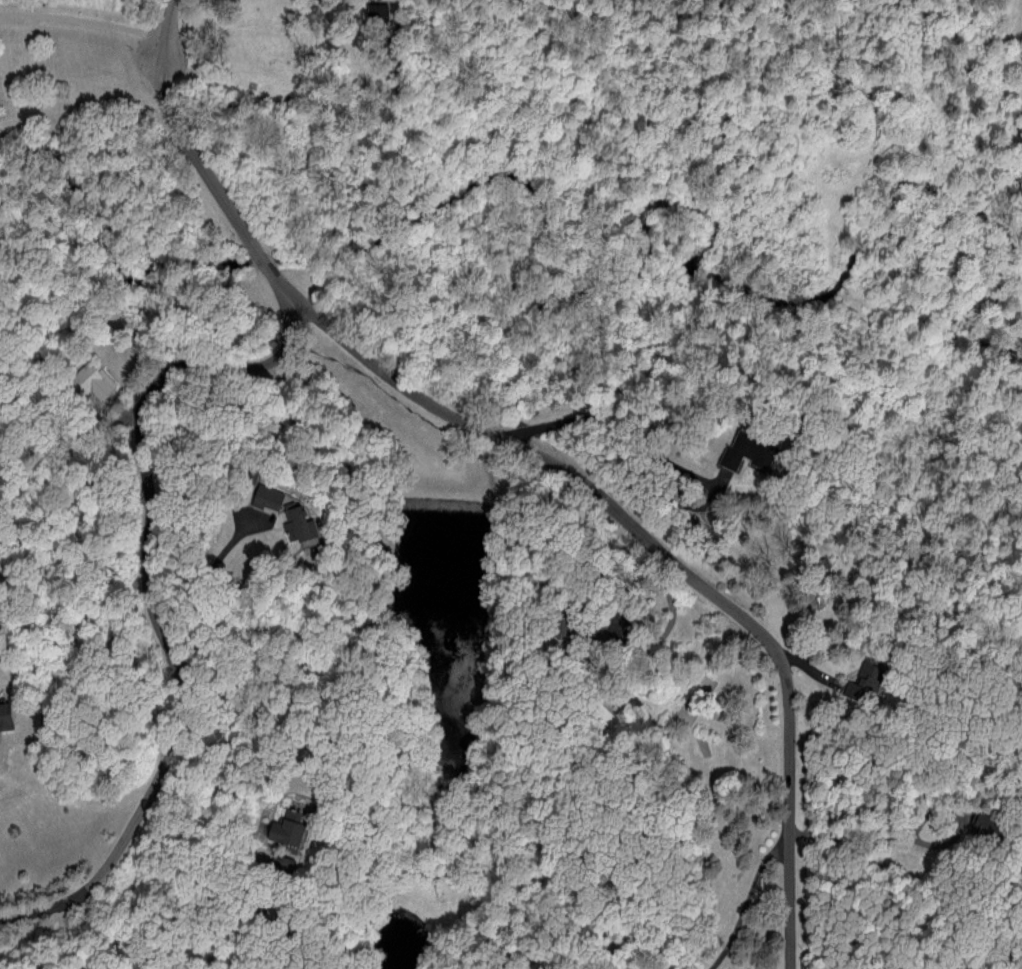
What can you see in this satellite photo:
building: (368, 13)
road: (83, 21)
road: (195, 158)
building: (93, 381)
road: (620, 434)
building: (744, 453)
building: (266, 496)
building: (295, 523)
road: (670, 551)
road: (209, 595)
road: (150, 598)
road: (668, 632)
building: (849, 689)
building: (5, 717)
building: (284, 828)
road: (918, 829)
road: (256, 876)
road: (752, 906)
road: (908, 934)
road: (73, 939)

